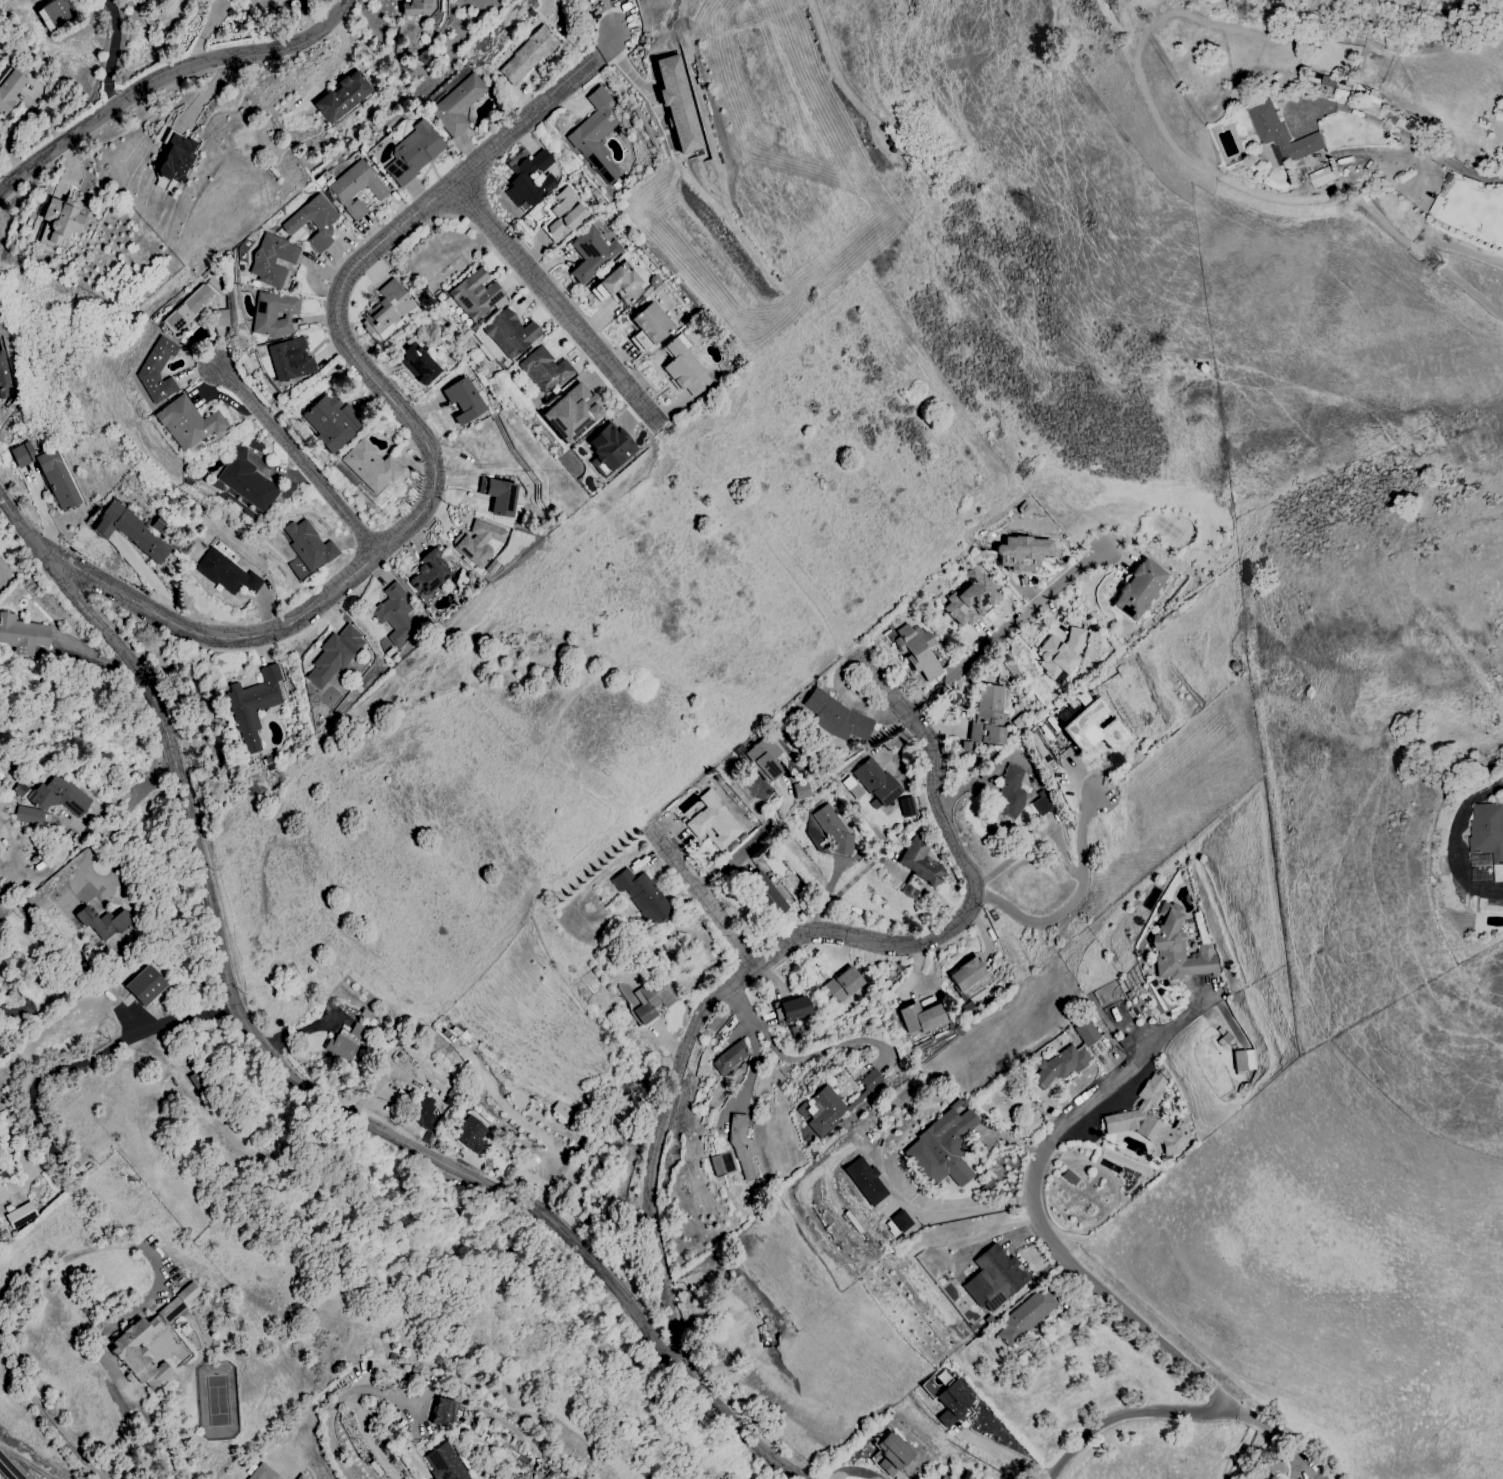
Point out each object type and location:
building: (37, 0)
building: (415, 7)
building: (56, 12)
road: (213, 20)
road: (610, 44)
road: (200, 51)
road: (110, 55)
building: (529, 55)
road: (337, 62)
road: (628, 69)
road: (165, 76)
building: (10, 90)
road: (209, 92)
building: (343, 97)
building: (678, 103)
building: (458, 104)
road: (527, 118)
building: (1282, 133)
building: (596, 135)
road: (1429, 148)
building: (414, 153)
building: (176, 156)
building: (1321, 176)
building: (531, 180)
building: (357, 188)
building: (566, 214)
building: (62, 219)
building: (314, 221)
building: (592, 253)
building: (273, 260)
building: (622, 282)
building: (476, 295)
road: (557, 304)
building: (387, 308)
building: (188, 311)
building: (274, 314)
building: (219, 318)
building: (652, 323)
building: (510, 333)
building: (290, 359)
building: (419, 363)
building: (545, 369)
building: (685, 369)
building: (158, 370)
building: (3, 373)
building: (464, 400)
building: (572, 413)
building: (188, 422)
building: (332, 422)
building: (610, 449)
road: (299, 458)
building: (370, 466)
building: (48, 473)
building: (248, 478)
building: (500, 496)
road: (22, 509)
building: (1024, 509)
road: (44, 512)
road: (412, 521)
building: (132, 531)
building: (481, 542)
building: (309, 545)
building: (1022, 553)
building: (227, 573)
building: (431, 573)
building: (1140, 589)
building: (971, 599)
building: (395, 613)
road: (1005, 631)
building: (22, 634)
building: (918, 651)
building: (1062, 652)
building: (335, 655)
road: (852, 699)
building: (253, 705)
building: (991, 714)
building: (836, 716)
building: (1094, 727)
building: (764, 758)
building: (877, 782)
building: (800, 790)
building: (1011, 793)
building: (58, 796)
building: (907, 806)
building: (1041, 806)
road: (97, 812)
building: (28, 815)
building: (714, 821)
building: (834, 830)
building: (1488, 830)
building: (816, 836)
road: (1037, 838)
road: (1456, 840)
road: (753, 842)
road: (98, 846)
building: (919, 867)
building: (767, 895)
building: (643, 896)
road: (1072, 900)
road: (706, 903)
building: (103, 922)
road: (790, 942)
building: (1178, 949)
building: (968, 973)
building: (844, 985)
building: (144, 986)
building: (650, 1000)
building: (795, 1009)
building: (365, 1014)
building: (776, 1014)
building: (922, 1017)
building: (357, 1031)
building: (1085, 1032)
building: (340, 1048)
road: (110, 1049)
building: (730, 1058)
building: (1244, 1060)
road: (794, 1061)
building: (1063, 1065)
road: (289, 1075)
building: (871, 1080)
building: (826, 1111)
building: (562, 1115)
building: (425, 1118)
building: (1150, 1120)
building: (470, 1134)
building: (742, 1145)
building: (944, 1147)
building: (719, 1164)
building: (864, 1181)
building: (2, 1195)
building: (20, 1215)
building: (899, 1221)
road: (1052, 1240)
building: (994, 1278)
road: (15, 1307)
building: (1025, 1316)
building: (149, 1340)
building: (952, 1401)
road: (337, 1402)
road: (1187, 1407)
building: (443, 1411)
building: (890, 1454)
road: (1012, 1458)
road: (26, 1462)
building: (445, 1463)
road: (8, 1469)
building: (262, 1473)
building: (300, 1477)
building: (1272, 1477)
building: (943, 1478)

